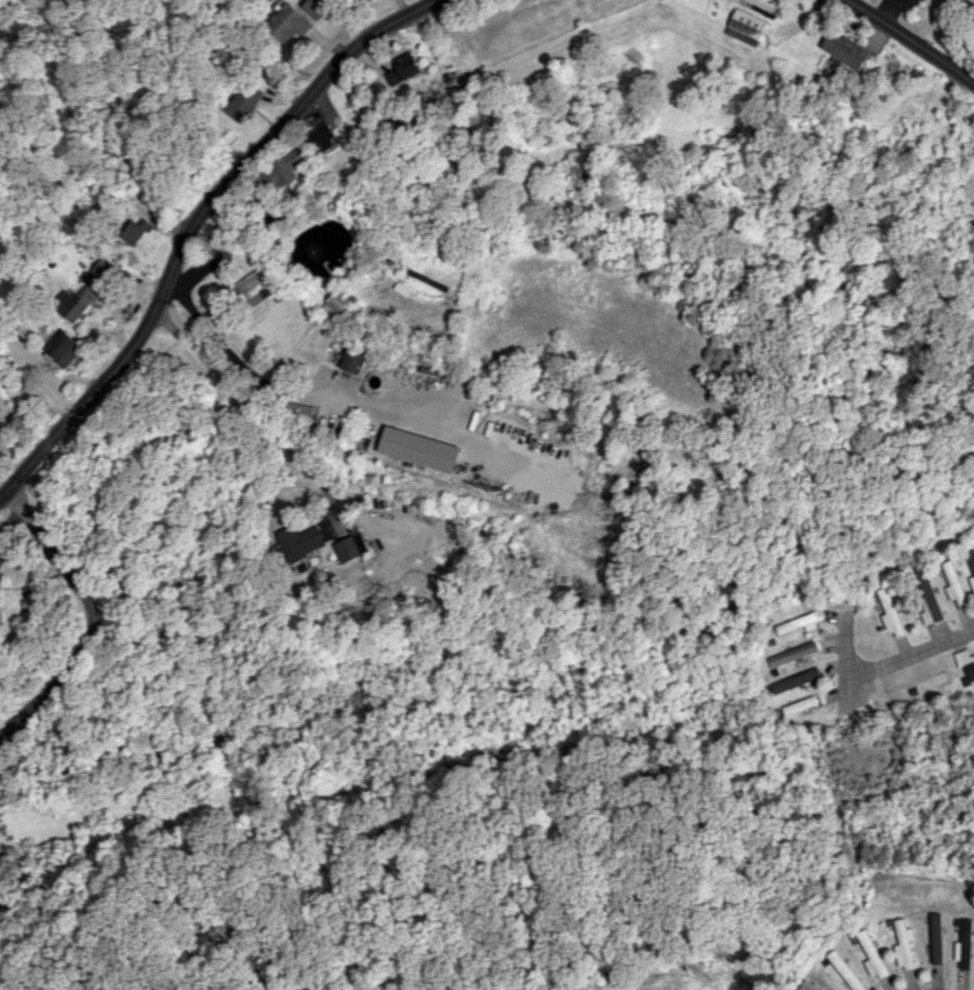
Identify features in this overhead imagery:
building: (286, 23)
building: (743, 26)
road: (914, 39)
building: (845, 49)
building: (403, 69)
building: (242, 101)
building: (323, 137)
building: (279, 171)
road: (200, 224)
building: (134, 231)
building: (255, 287)
building: (82, 292)
building: (333, 306)
building: (62, 348)
building: (353, 361)
road: (301, 399)
road: (243, 408)
building: (301, 410)
building: (421, 449)
building: (302, 541)
building: (353, 545)
building: (971, 564)
building: (954, 585)
building: (927, 598)
building: (890, 613)
road: (97, 616)
building: (799, 623)
road: (911, 657)
road: (846, 662)
building: (965, 663)
building: (796, 680)
building: (917, 689)
building: (799, 705)
building: (936, 938)
building: (903, 944)
building: (964, 944)
building: (871, 955)
building: (845, 972)
building: (807, 986)

